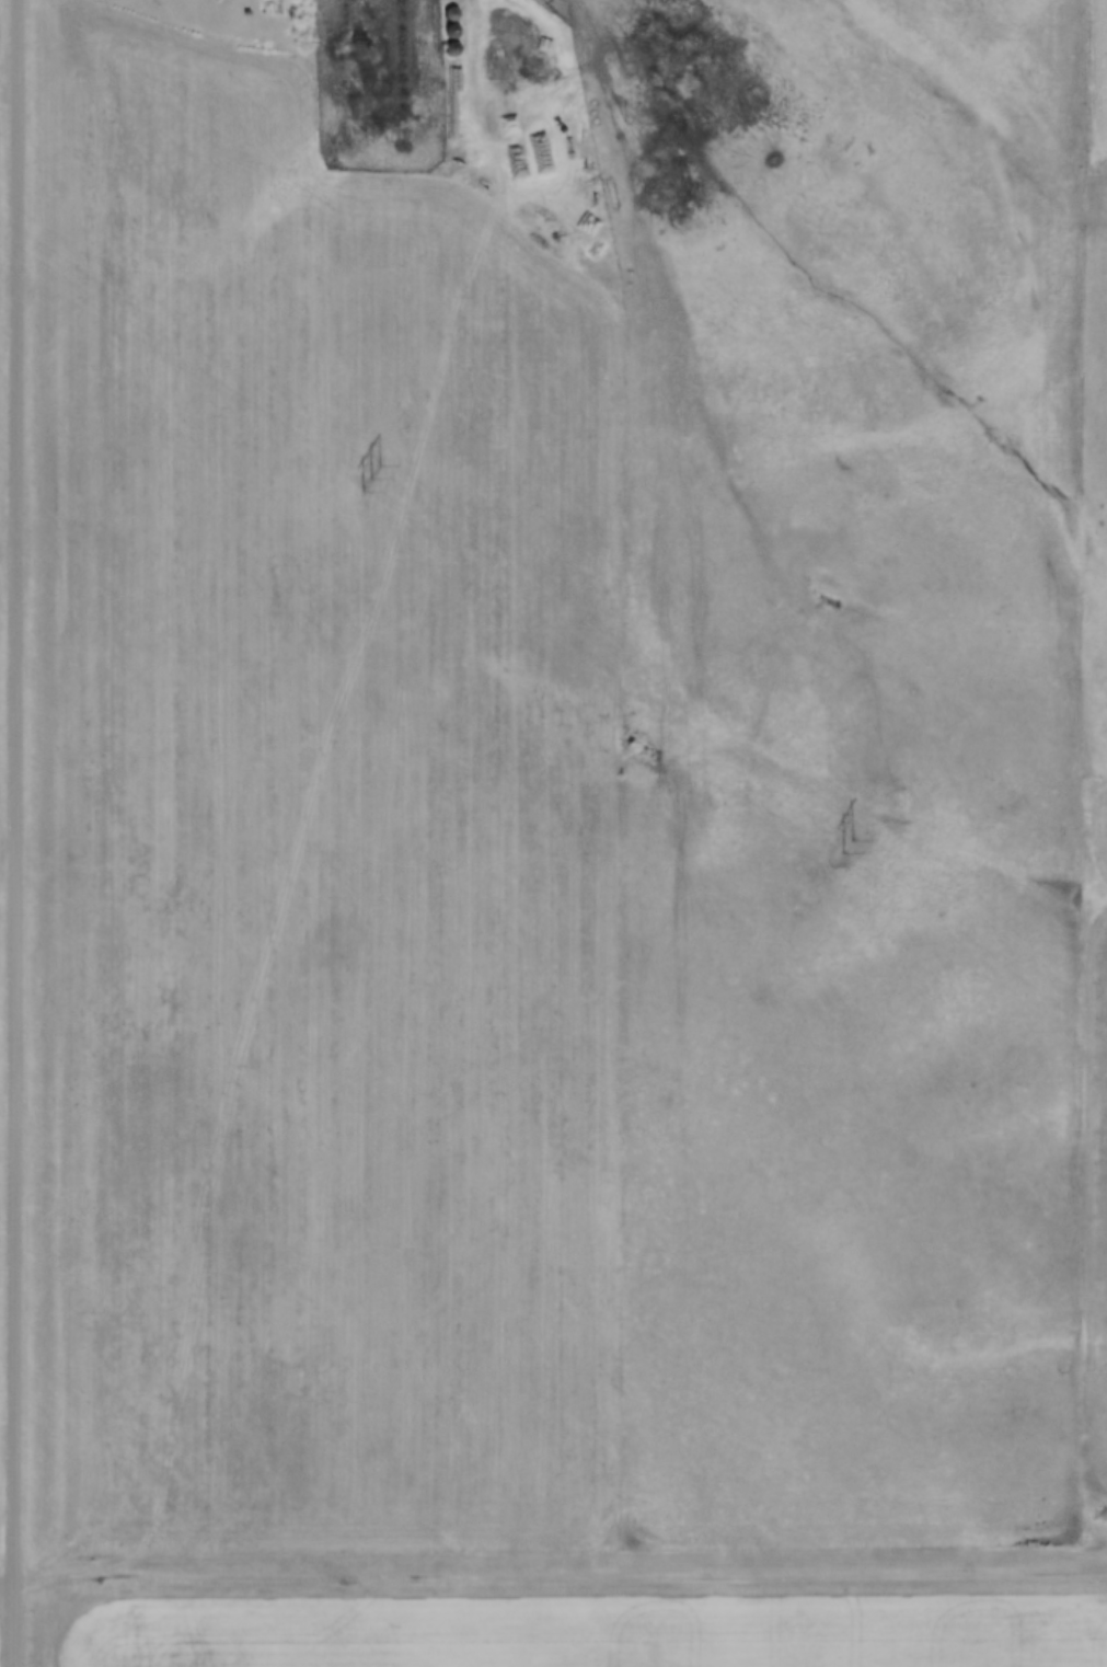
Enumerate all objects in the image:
building: (450, 15)
building: (341, 42)
building: (543, 157)
power tower: (369, 479)
road: (14, 832)
power tower: (849, 847)
road: (553, 1584)

